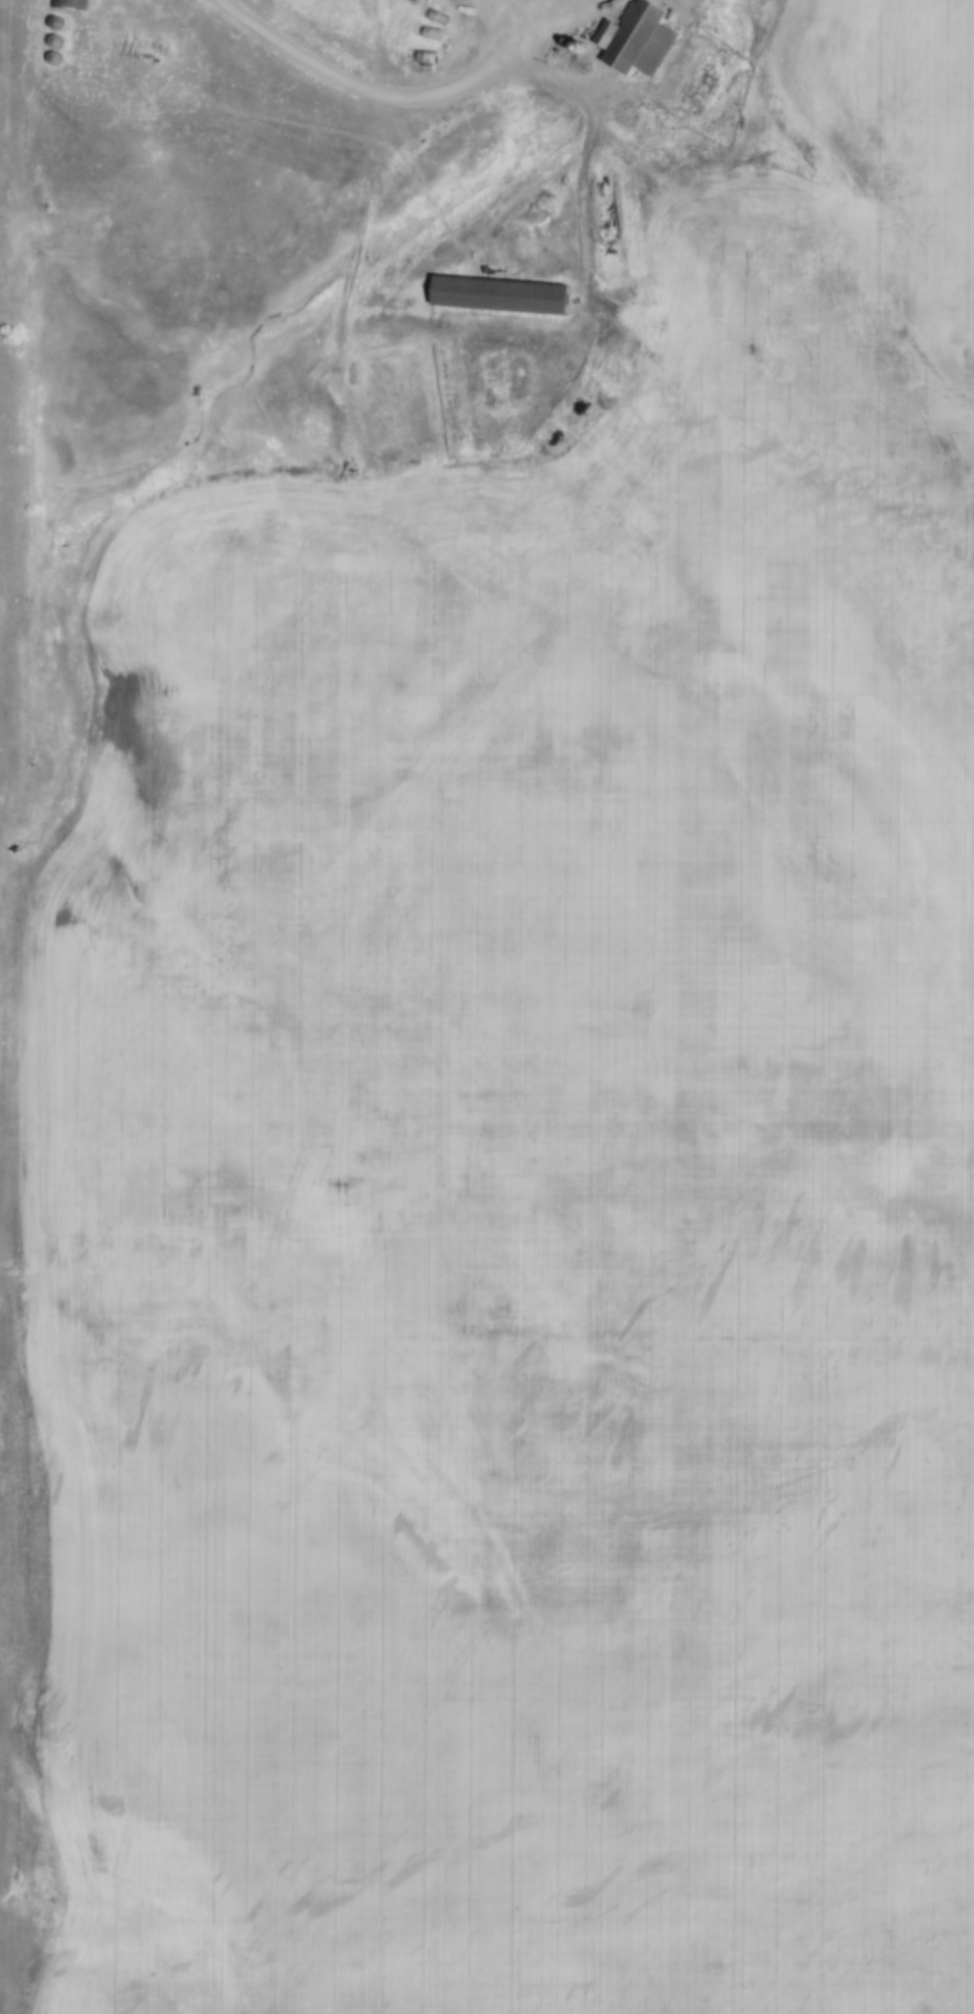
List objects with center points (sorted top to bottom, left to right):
building: (71, 4)
building: (635, 39)
building: (424, 50)
road: (364, 88)
building: (497, 295)

